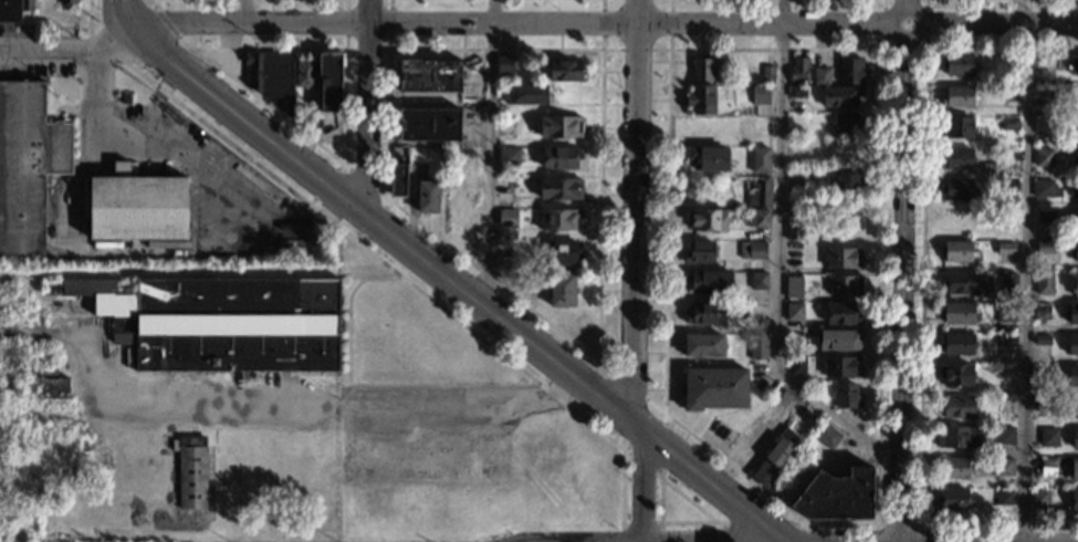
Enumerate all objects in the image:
building: (65, 2)
road: (148, 3)
building: (11, 9)
road: (245, 11)
road: (87, 13)
road: (125, 13)
road: (166, 22)
road: (605, 25)
road: (53, 27)
road: (113, 39)
road: (327, 49)
road: (367, 49)
road: (904, 49)
road: (576, 50)
road: (635, 50)
road: (46, 51)
building: (503, 65)
building: (956, 65)
building: (1074, 67)
building: (702, 70)
building: (564, 71)
building: (798, 71)
building: (848, 72)
building: (303, 74)
building: (766, 75)
building: (428, 76)
building: (819, 77)
building: (1009, 77)
building: (271, 79)
building: (328, 82)
building: (796, 94)
building: (526, 95)
building: (758, 96)
building: (839, 97)
building: (956, 98)
building: (1077, 98)
building: (126, 100)
road: (260, 100)
building: (700, 101)
road: (365, 103)
building: (308, 111)
building: (846, 124)
building: (427, 125)
building: (1008, 125)
building: (558, 126)
building: (956, 128)
building: (1077, 131)
road: (158, 142)
building: (842, 150)
road: (491, 152)
building: (1007, 156)
building: (505, 157)
building: (558, 158)
building: (708, 159)
building: (955, 159)
building: (1043, 159)
building: (1076, 160)
building: (760, 161)
road: (338, 165)
road: (345, 166)
building: (25, 167)
road: (668, 175)
building: (846, 179)
road: (363, 180)
building: (396, 180)
road: (325, 183)
building: (1008, 187)
building: (1043, 187)
building: (558, 190)
building: (956, 191)
building: (1074, 191)
building: (760, 192)
building: (427, 197)
road: (310, 201)
road: (385, 201)
building: (132, 207)
road: (922, 210)
building: (1045, 217)
building: (504, 218)
building: (557, 219)
building: (757, 219)
road: (373, 220)
building: (708, 220)
building: (1076, 221)
building: (793, 231)
road: (880, 236)
road: (359, 239)
building: (1045, 248)
building: (1004, 250)
building: (752, 251)
building: (561, 253)
building: (955, 253)
building: (1075, 253)
building: (698, 254)
road: (778, 259)
building: (841, 259)
road: (381, 262)
road: (632, 271)
road: (902, 271)
building: (757, 282)
road: (495, 283)
building: (709, 283)
building: (959, 283)
building: (1007, 284)
road: (1028, 284)
building: (1043, 284)
road: (457, 285)
building: (844, 285)
building: (1075, 288)
building: (793, 289)
building: (564, 290)
building: (794, 312)
building: (1040, 312)
building: (1004, 313)
building: (705, 314)
building: (838, 314)
building: (956, 314)
building: (1072, 315)
building: (219, 322)
building: (1006, 341)
building: (1042, 341)
building: (838, 342)
building: (955, 344)
building: (1072, 345)
building: (702, 346)
building: (757, 348)
building: (796, 366)
building: (840, 367)
road: (315, 375)
building: (1039, 375)
building: (954, 376)
building: (1072, 377)
road: (368, 383)
building: (46, 385)
road: (629, 387)
building: (714, 389)
building: (845, 397)
road: (270, 404)
building: (1042, 404)
road: (655, 406)
building: (1074, 407)
building: (955, 408)
road: (663, 418)
building: (1002, 436)
building: (825, 437)
building: (1047, 438)
building: (956, 439)
building: (1074, 439)
road: (660, 446)
road: (625, 450)
road: (642, 461)
building: (774, 461)
building: (1004, 468)
building: (1046, 468)
building: (952, 470)
building: (1074, 470)
building: (189, 472)
road: (659, 475)
road: (762, 490)
building: (836, 497)
building: (1003, 498)
building: (1039, 500)
building: (952, 501)
building: (1074, 501)
road: (640, 522)
road: (700, 522)
road: (898, 523)
road: (998, 523)
road: (719, 524)
road: (807, 525)
road: (877, 532)
road: (919, 532)
road: (731, 534)
road: (818, 534)
road: (898, 541)

